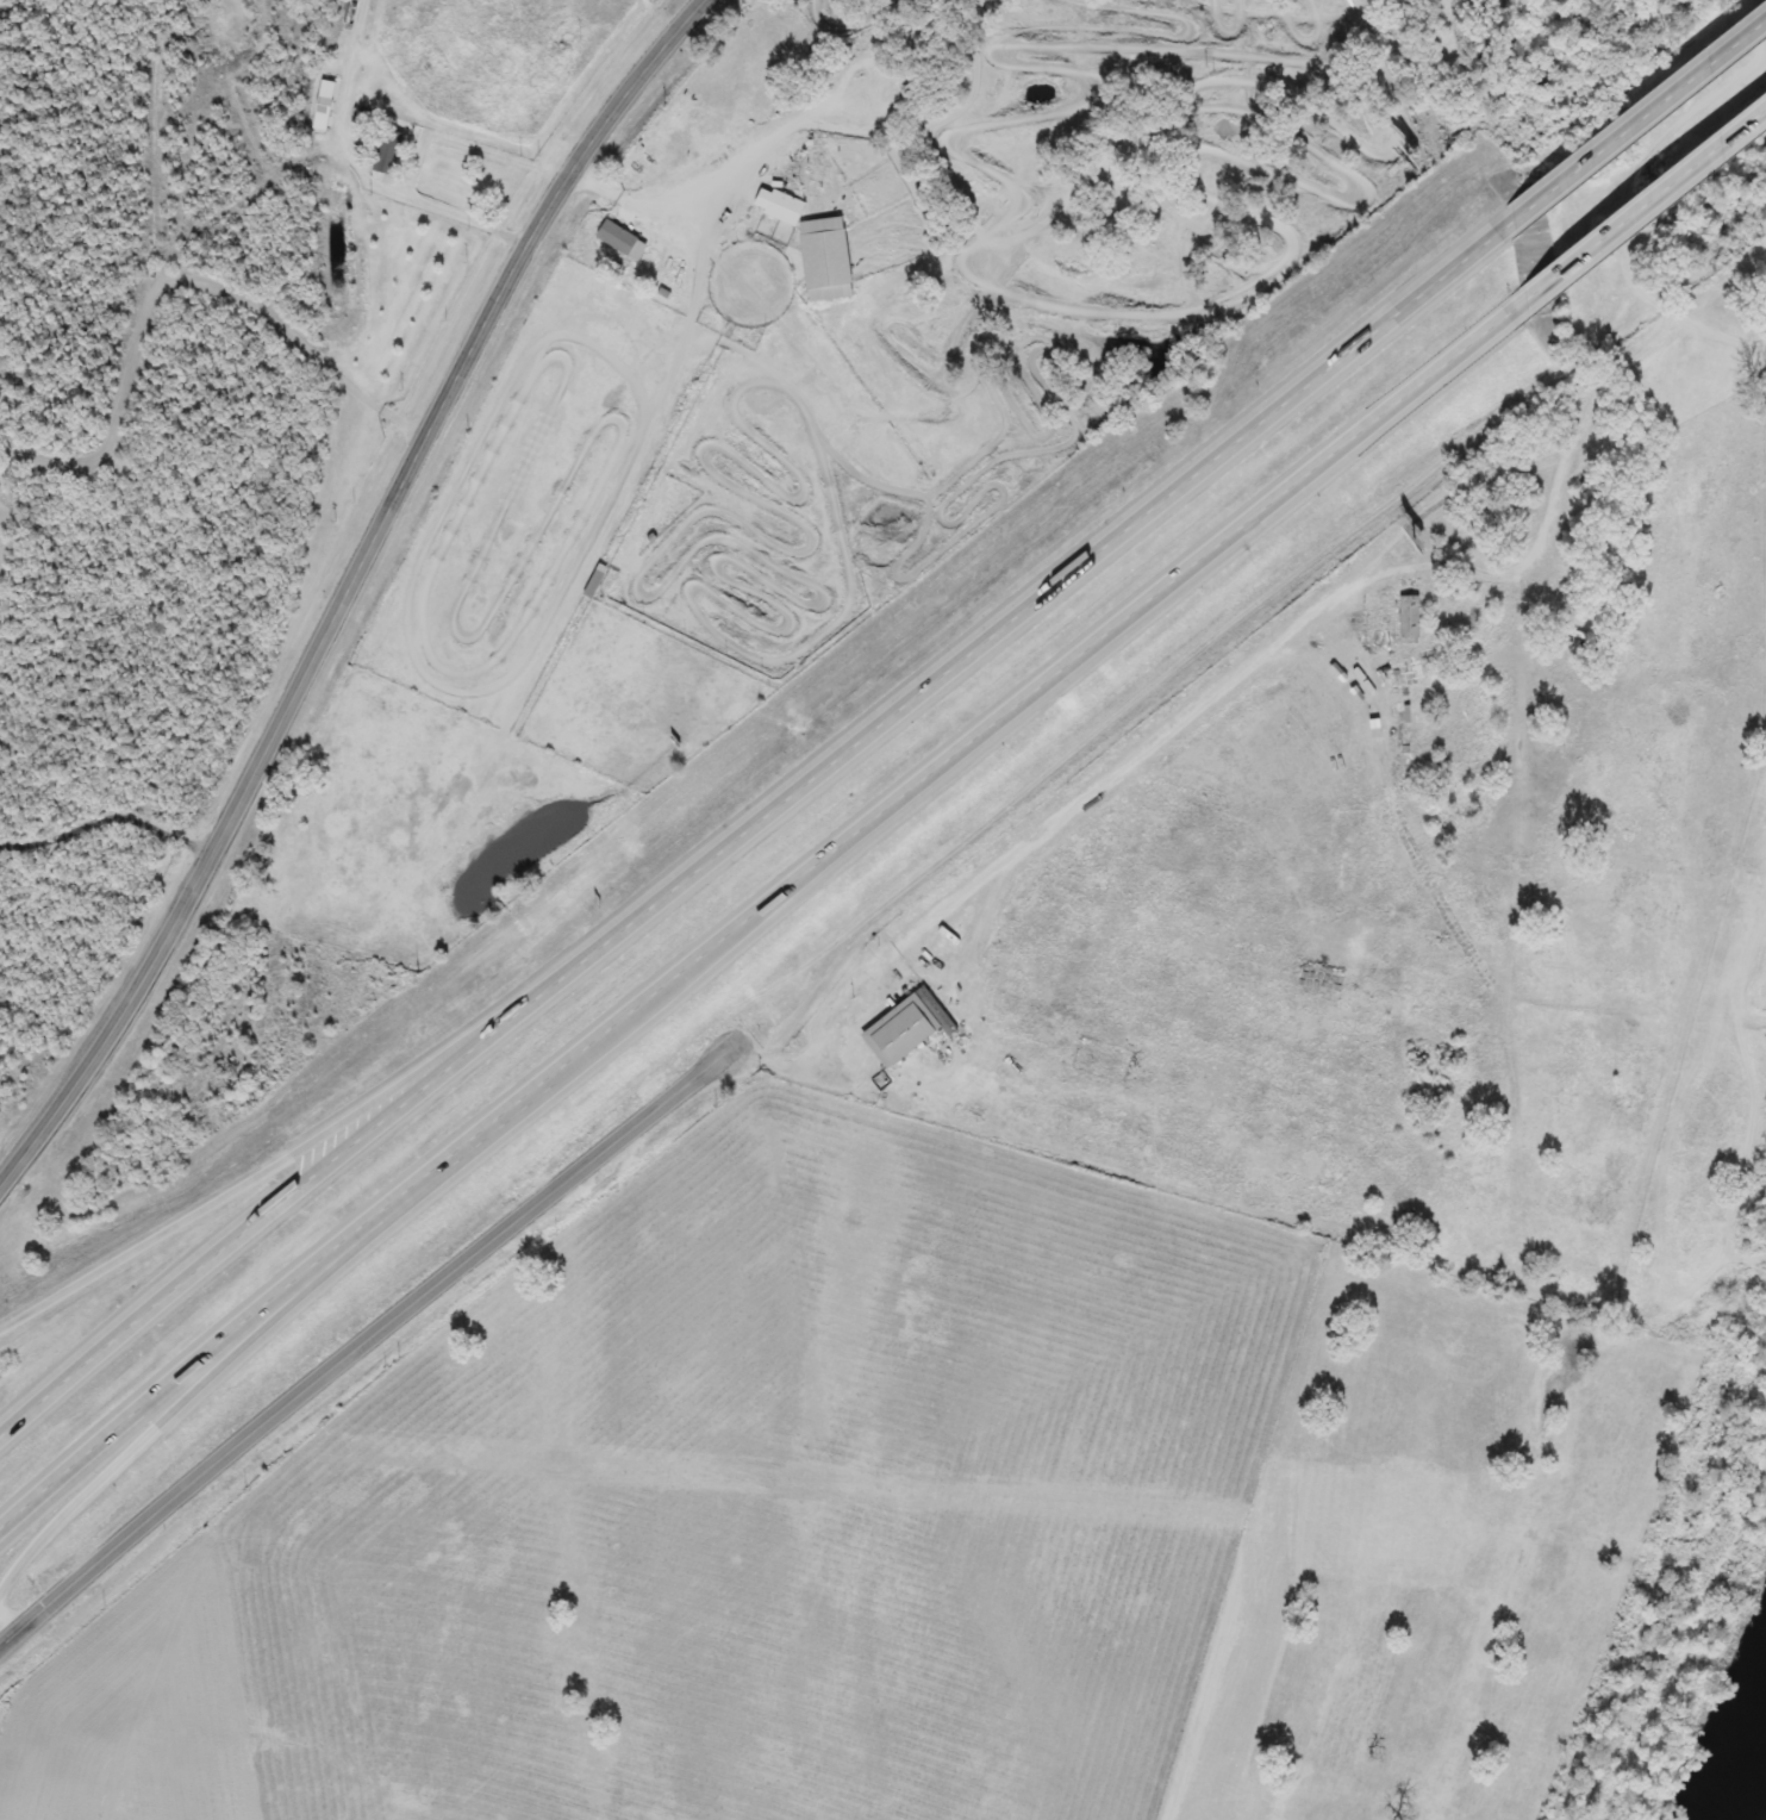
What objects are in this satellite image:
road: (1764, 13)
building: (324, 106)
building: (391, 155)
building: (624, 242)
building: (819, 247)
road: (179, 280)
building: (599, 582)
road: (356, 590)
building: (1414, 616)
road: (880, 725)
building: (1414, 737)
road: (881, 812)
road: (111, 818)
road: (1036, 835)
building: (948, 948)
building: (905, 1030)
road: (283, 1158)
road: (387, 1230)
road: (361, 1350)
river: (1739, 1766)

